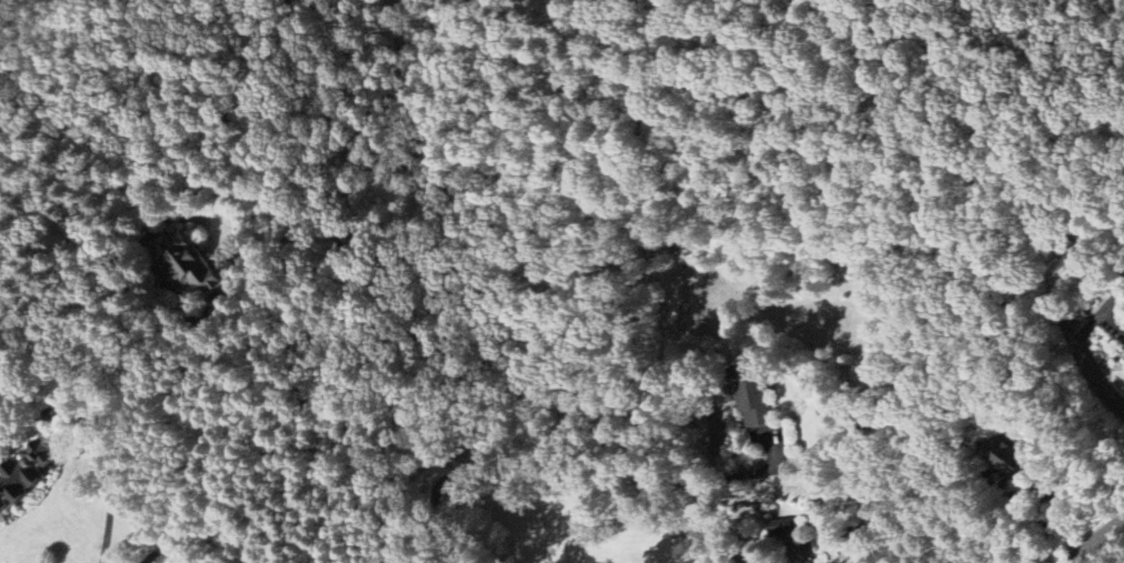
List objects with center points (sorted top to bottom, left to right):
building: (191, 265)
road: (1113, 302)
road: (1113, 324)
road: (1087, 326)
road: (1095, 379)
road: (207, 441)
building: (1007, 456)
road: (569, 463)
building: (18, 482)
road: (110, 487)
road: (637, 505)
road: (759, 539)
road: (1095, 539)
road: (725, 547)

